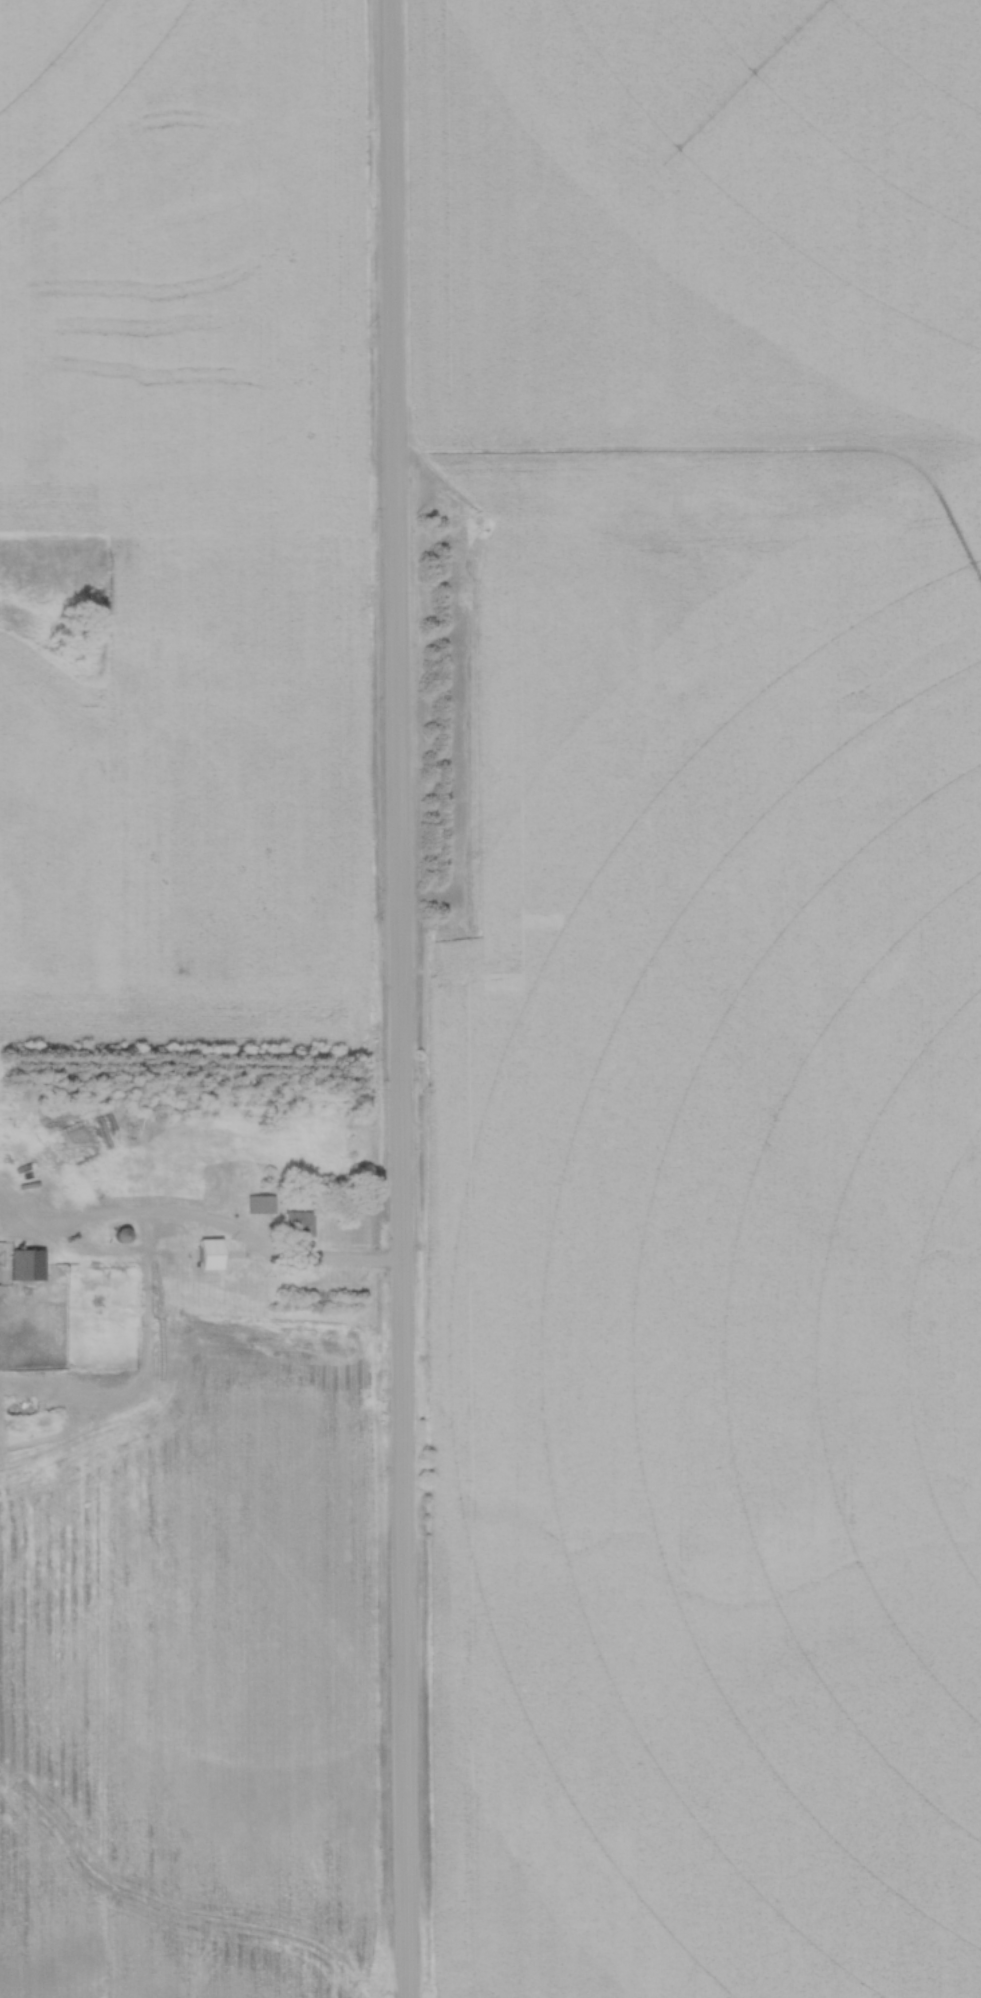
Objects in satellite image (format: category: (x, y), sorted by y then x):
road: (397, 998)
building: (258, 1204)
building: (296, 1224)
building: (117, 1235)
building: (206, 1254)
building: (23, 1264)

